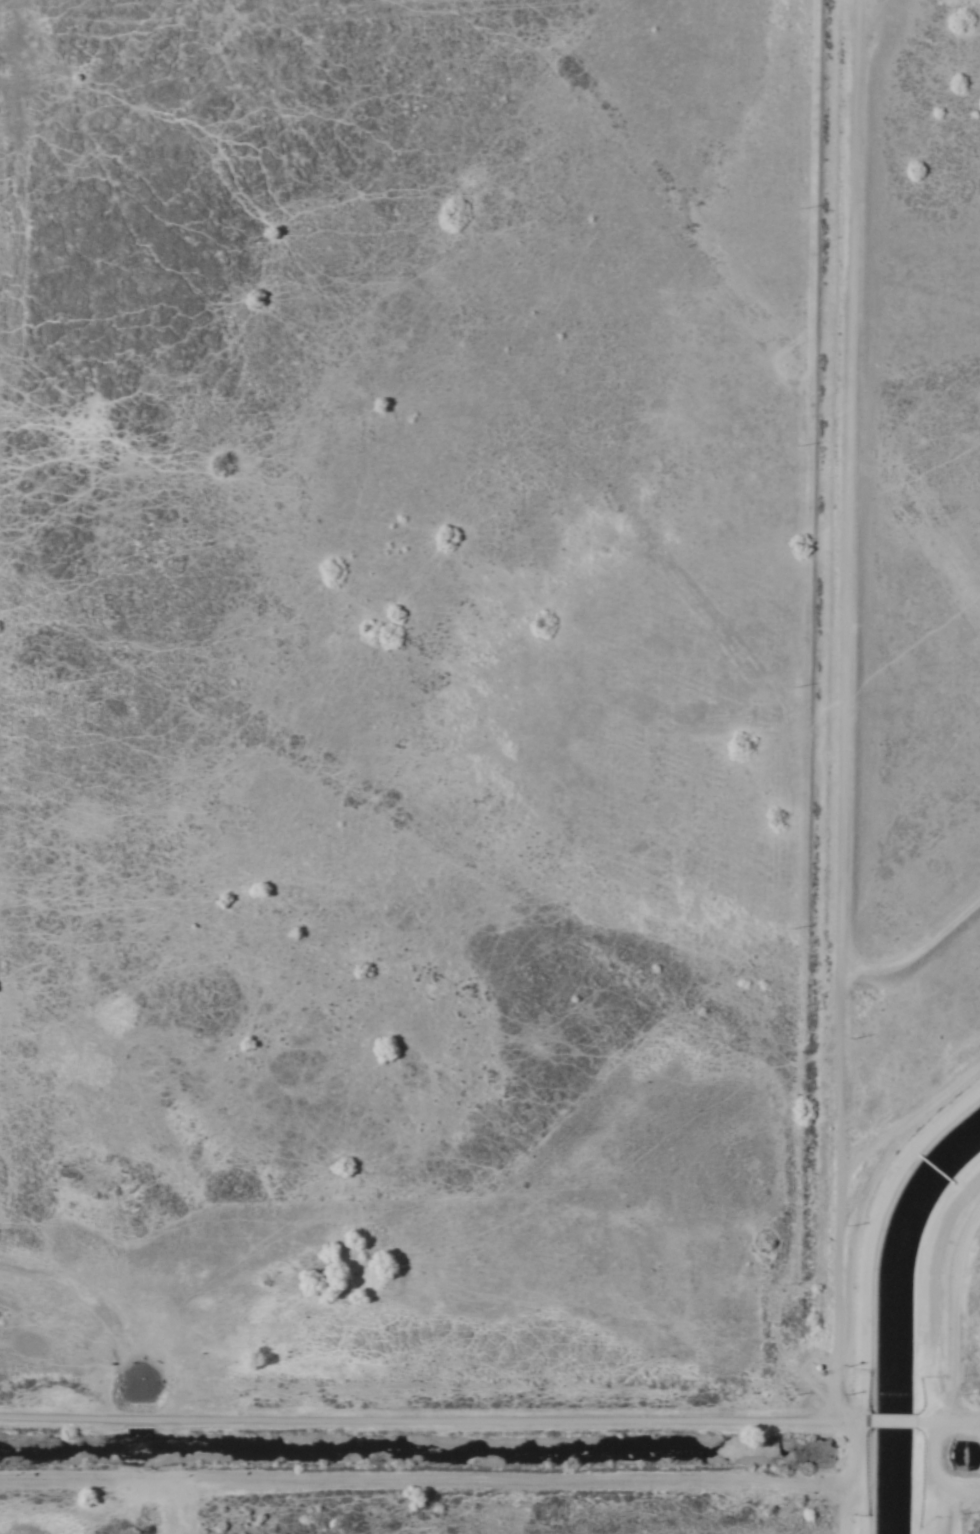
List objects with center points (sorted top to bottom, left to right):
crop: (475, 747)
road: (839, 1133)
road: (447, 1473)

